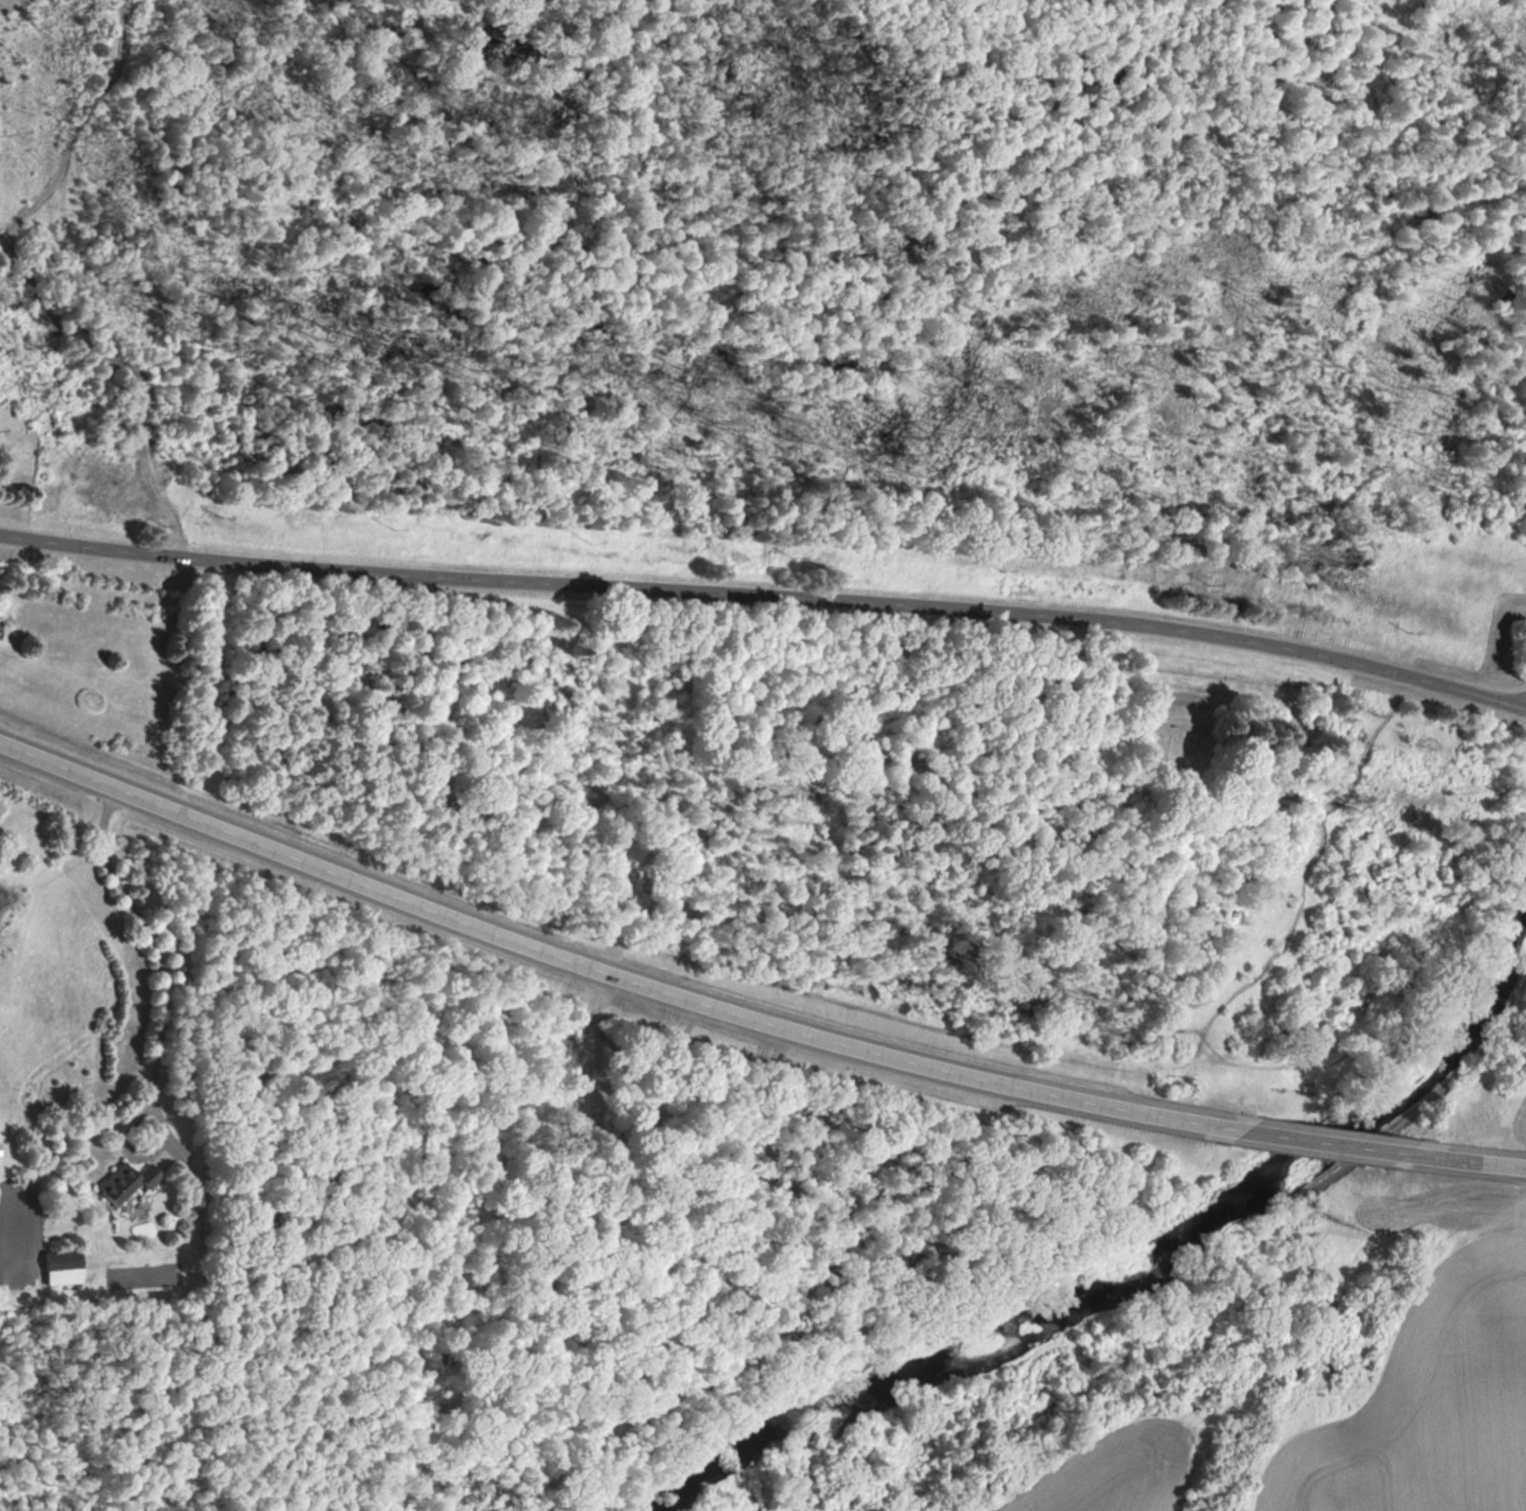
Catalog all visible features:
road: (767, 595)
road: (609, 970)
road: (1322, 1143)
road: (1465, 1161)
building: (127, 1184)
river: (1142, 1266)
building: (63, 1269)

